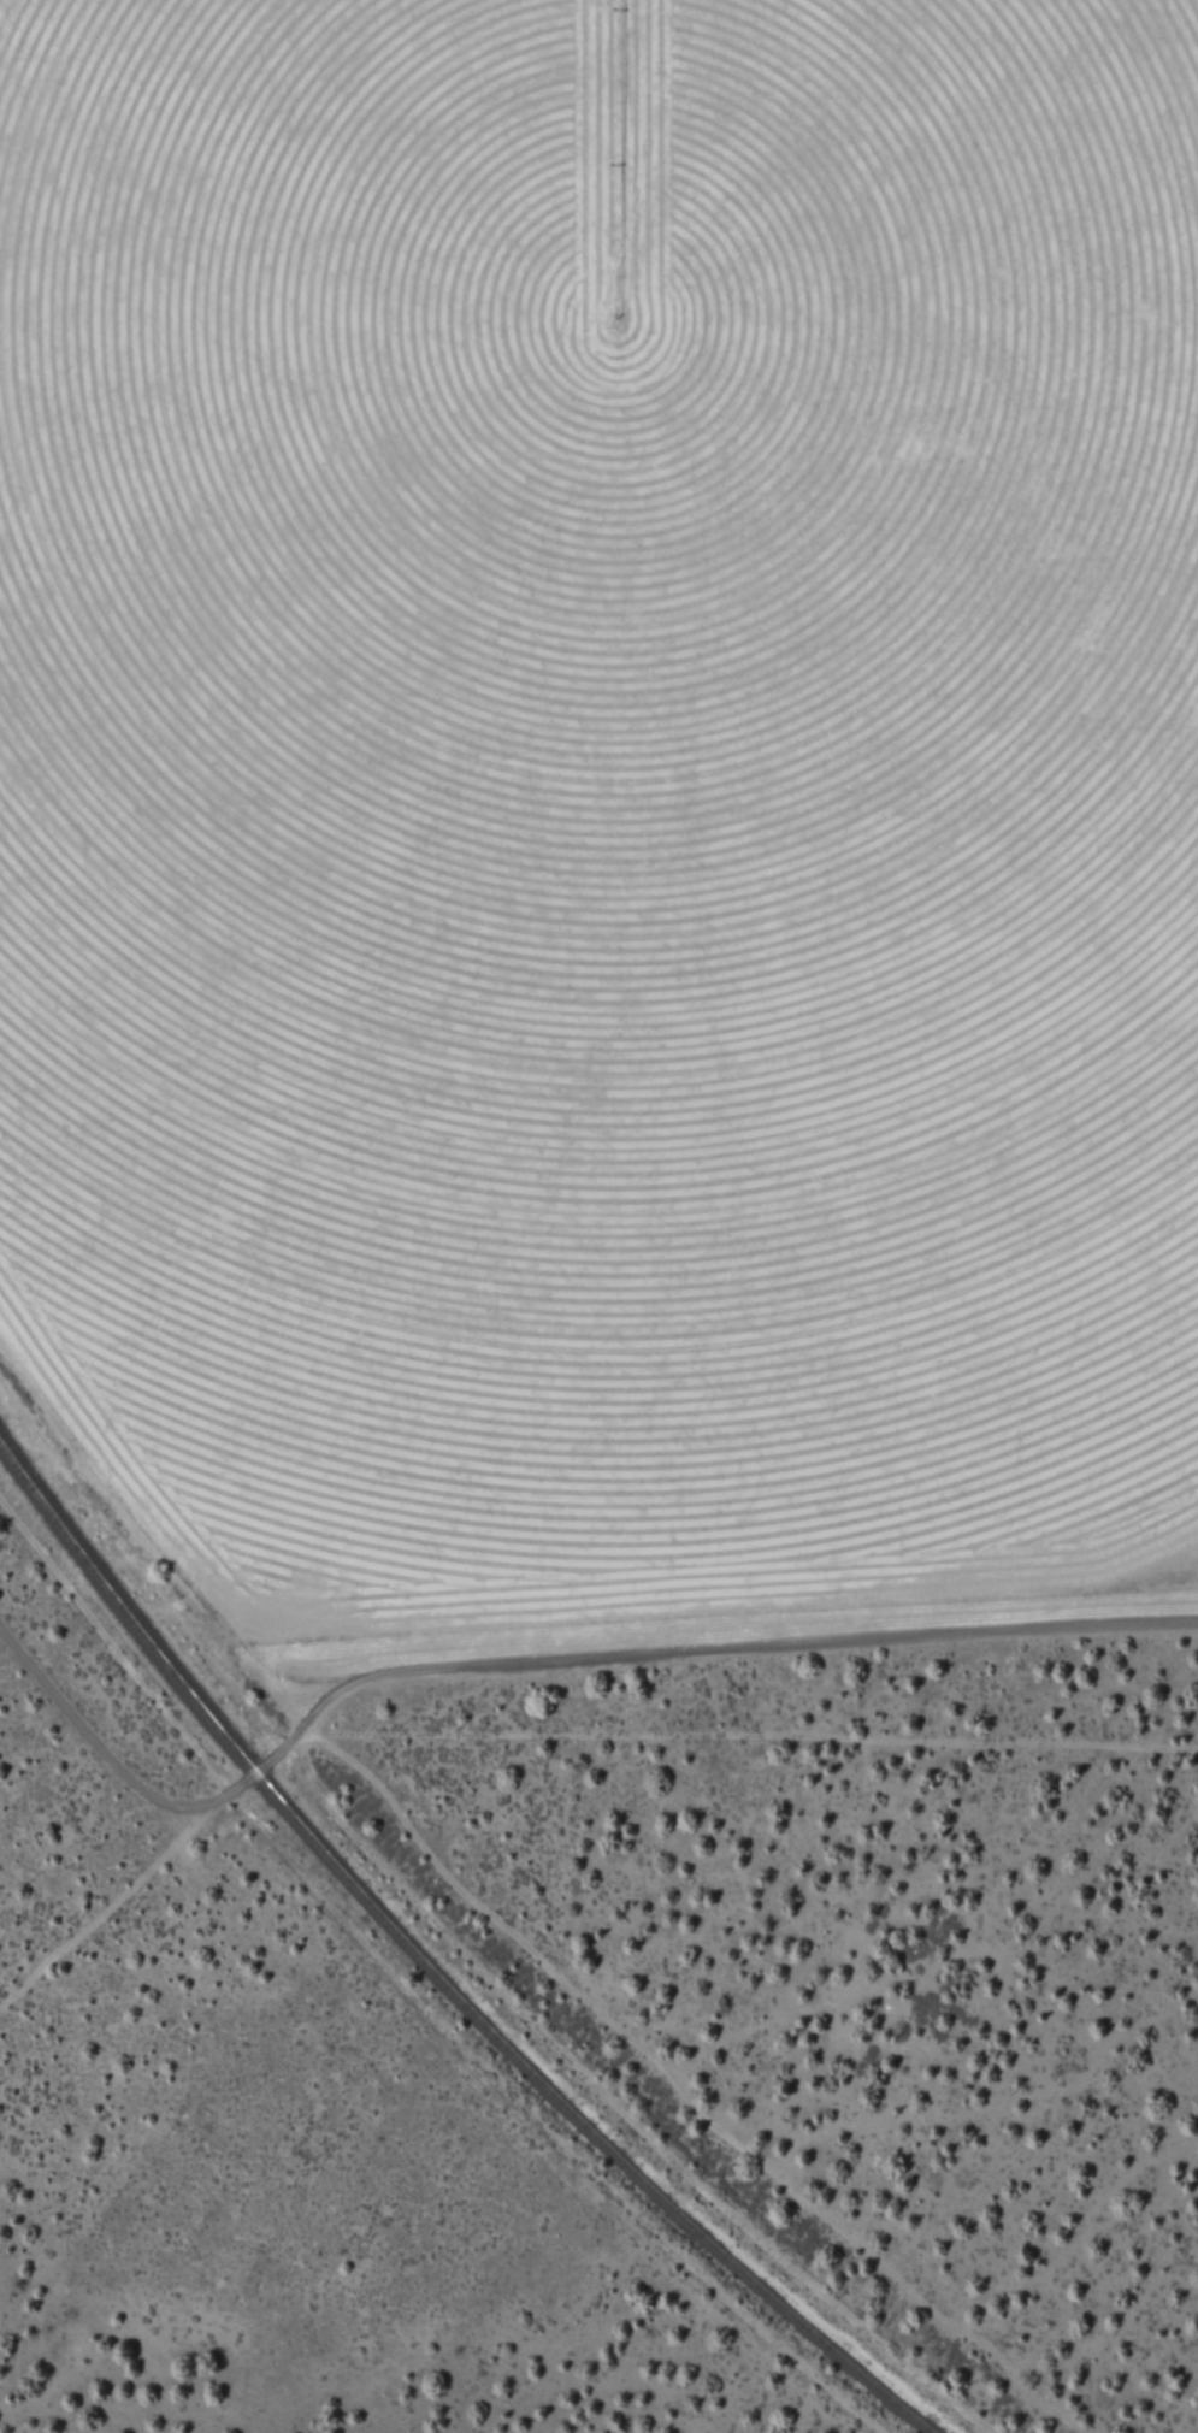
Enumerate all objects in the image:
crop: (606, 793)
road: (554, 1948)
railway: (430, 1972)

